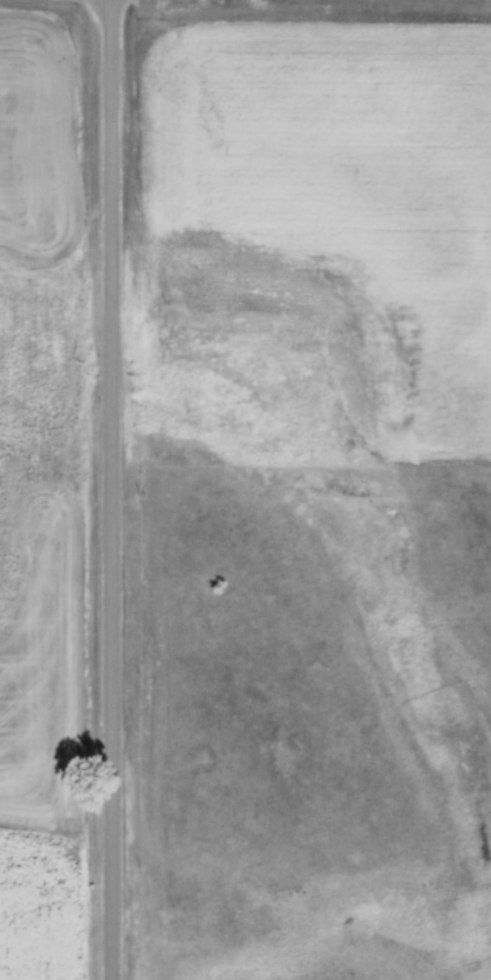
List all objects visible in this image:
crop: (332, 182)
road: (113, 490)

